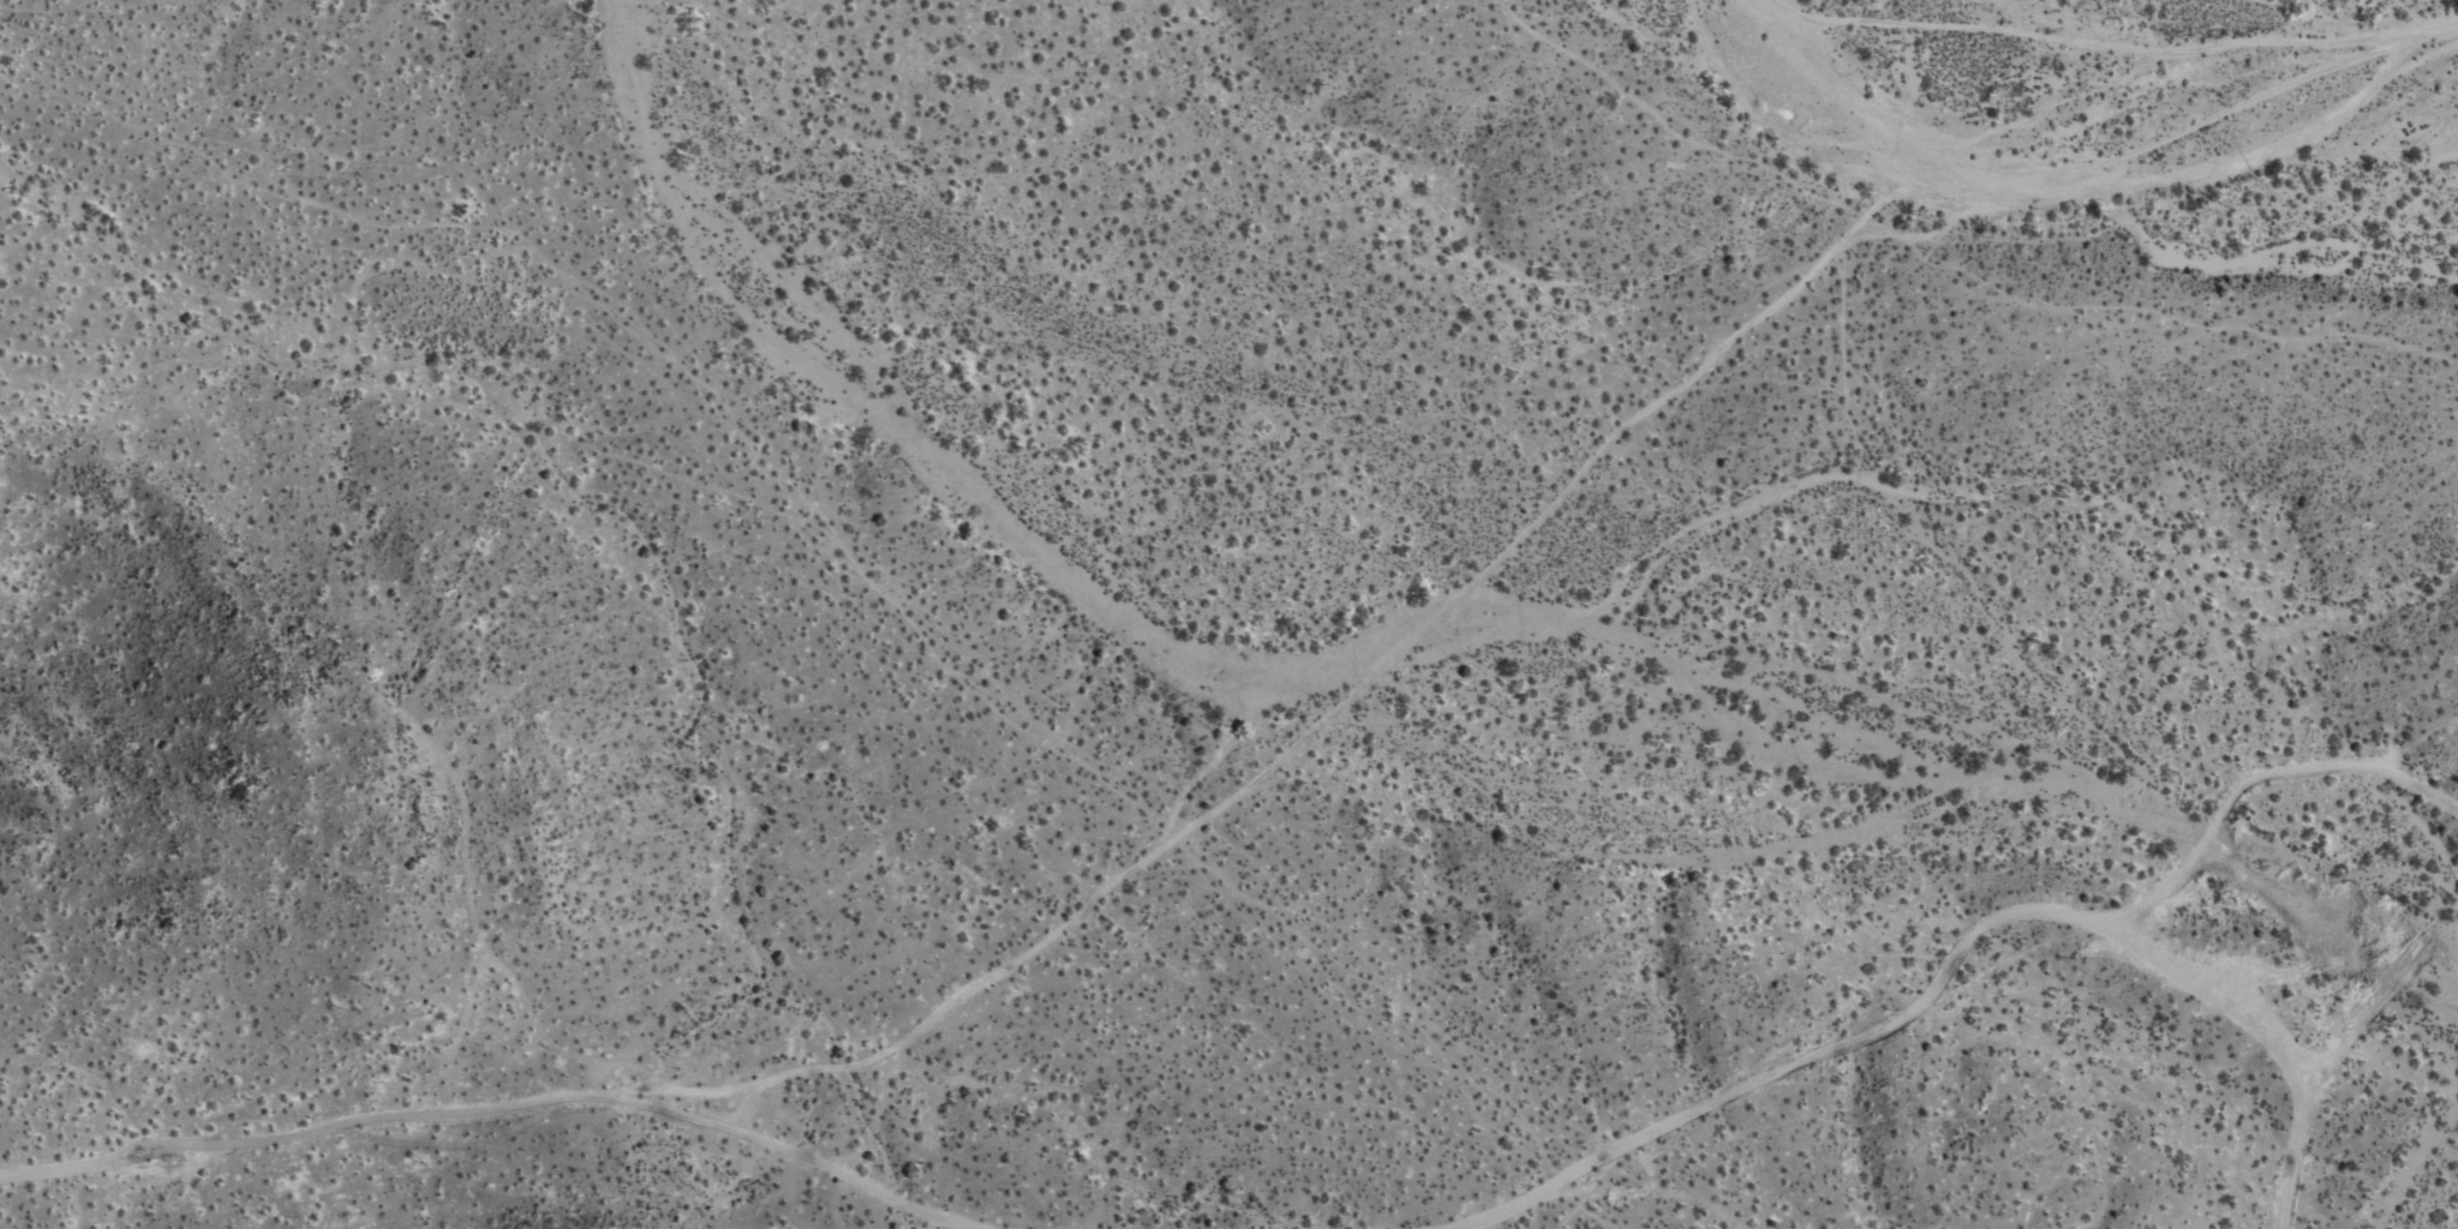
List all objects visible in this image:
road: (2416, 786)

